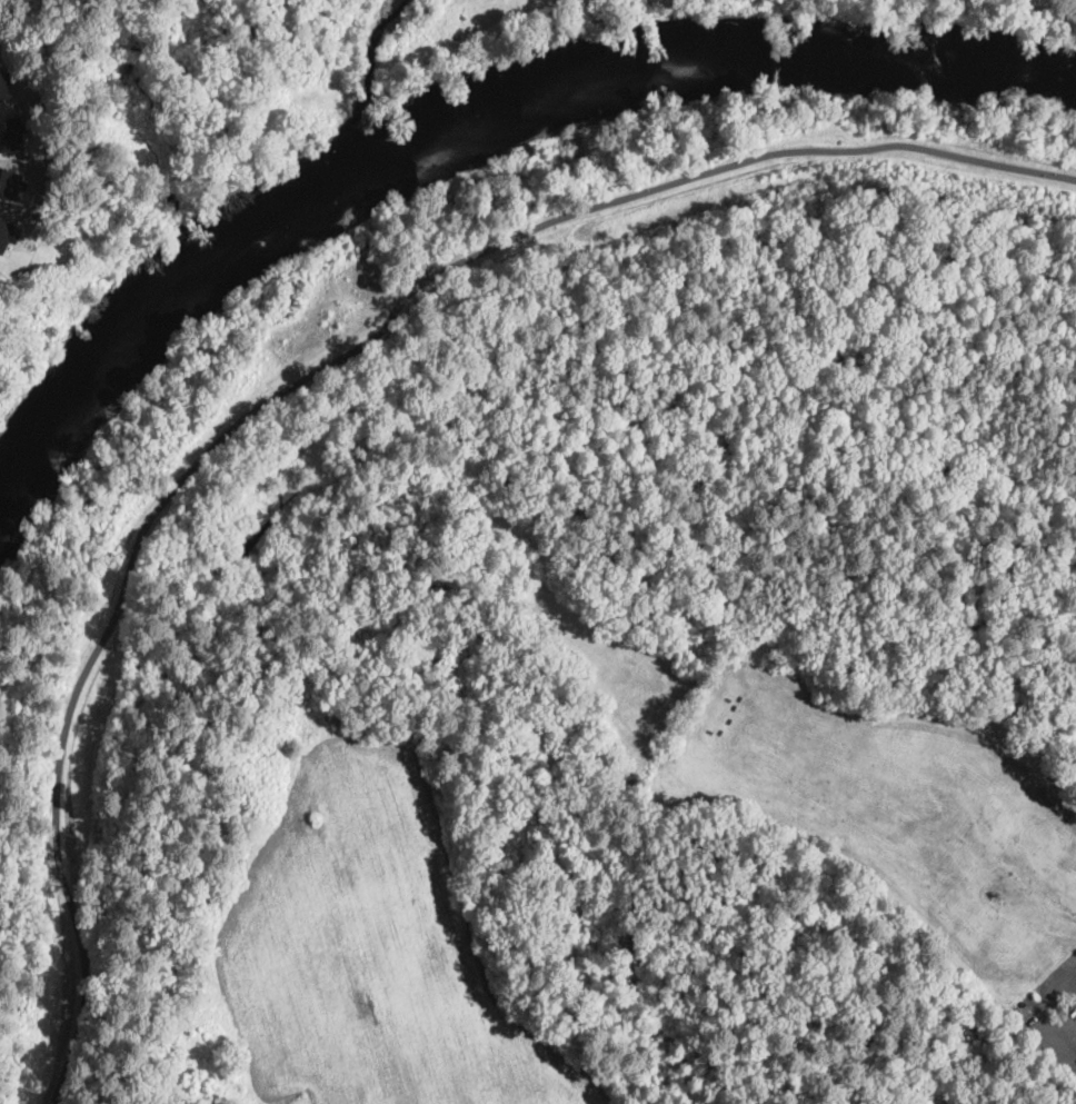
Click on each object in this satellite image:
building: (3, 87)
river: (469, 129)
building: (297, 131)
building: (12, 133)
building: (11, 183)
building: (8, 233)
park: (542, 297)
road: (310, 371)
building: (1015, 708)
park: (378, 856)
road: (1072, 989)
road: (1038, 1015)

